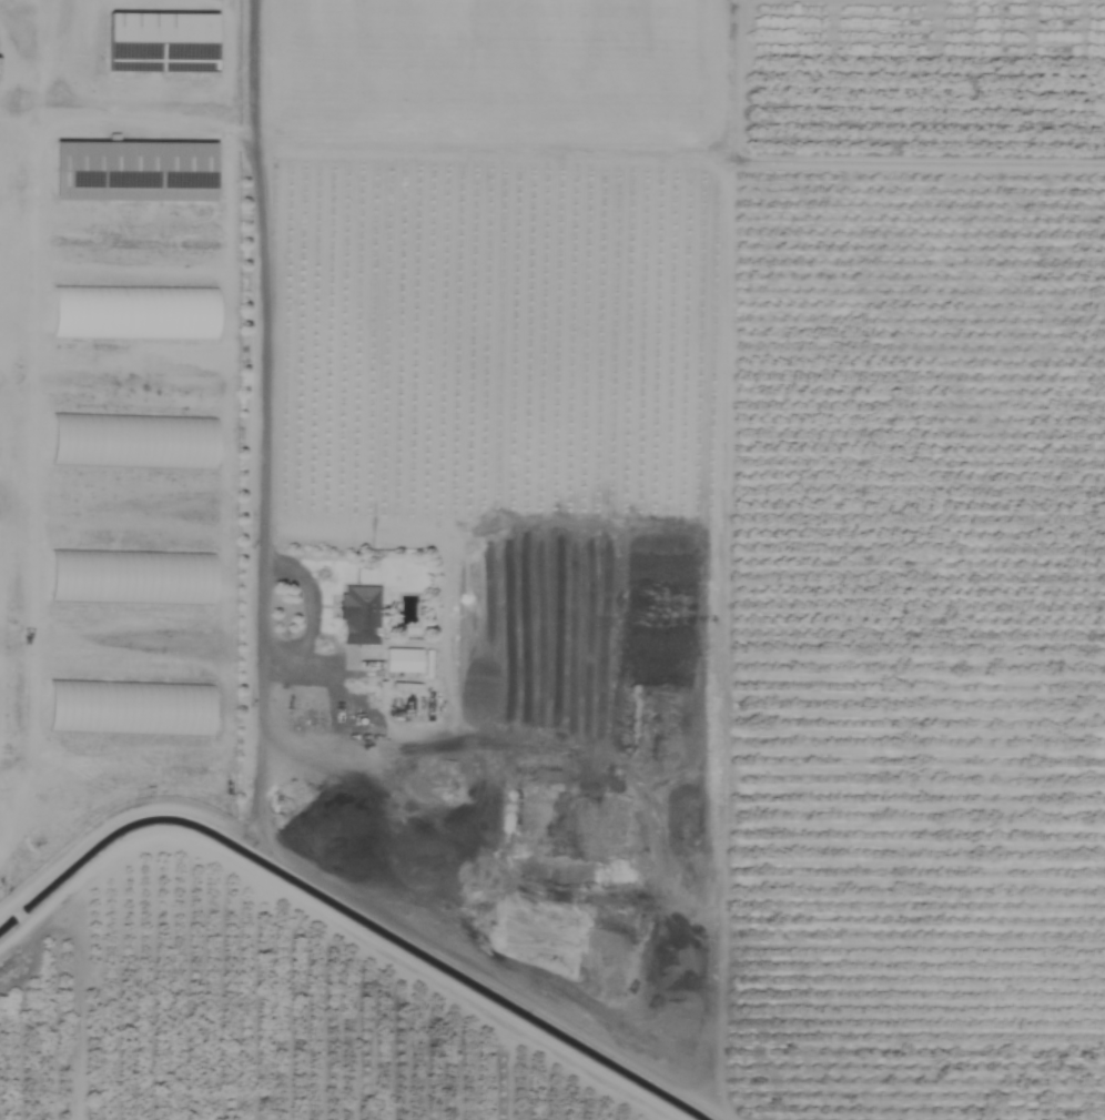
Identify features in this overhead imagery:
building: (160, 43)
building: (132, 172)
road: (265, 275)
building: (128, 578)
crop: (638, 588)
building: (358, 615)
building: (401, 660)
road: (295, 664)

